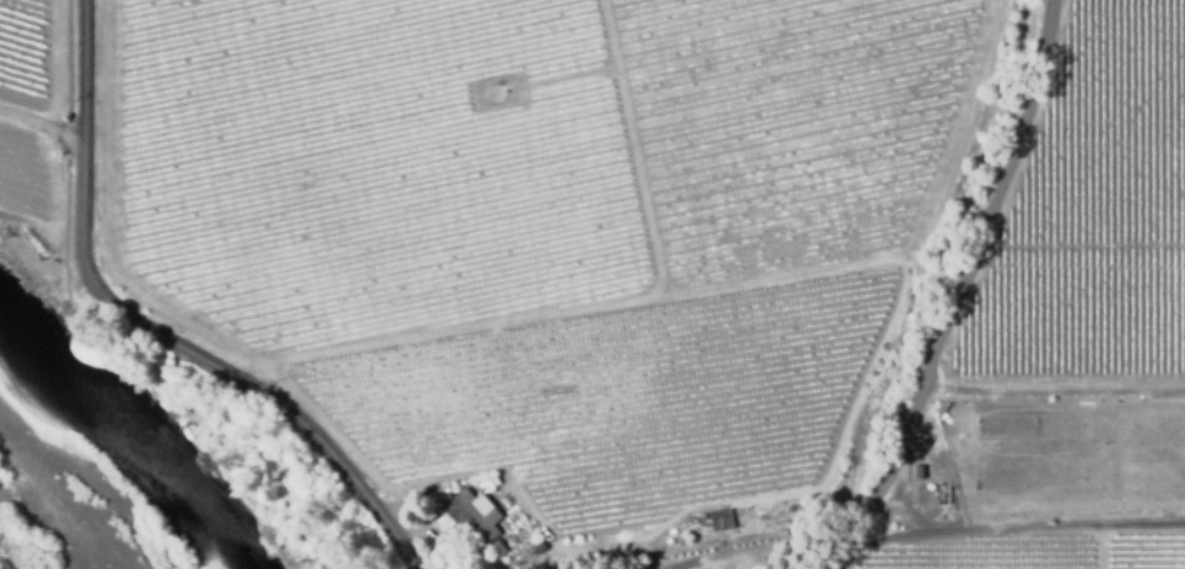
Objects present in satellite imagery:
road: (42, 127)
road: (949, 289)
road: (148, 341)
building: (918, 470)
building: (492, 480)
building: (937, 493)
building: (473, 517)
building: (717, 521)
road: (1013, 529)
building: (785, 532)
building: (615, 539)
building: (522, 540)
building: (538, 546)
road: (1104, 548)
building: (473, 559)

